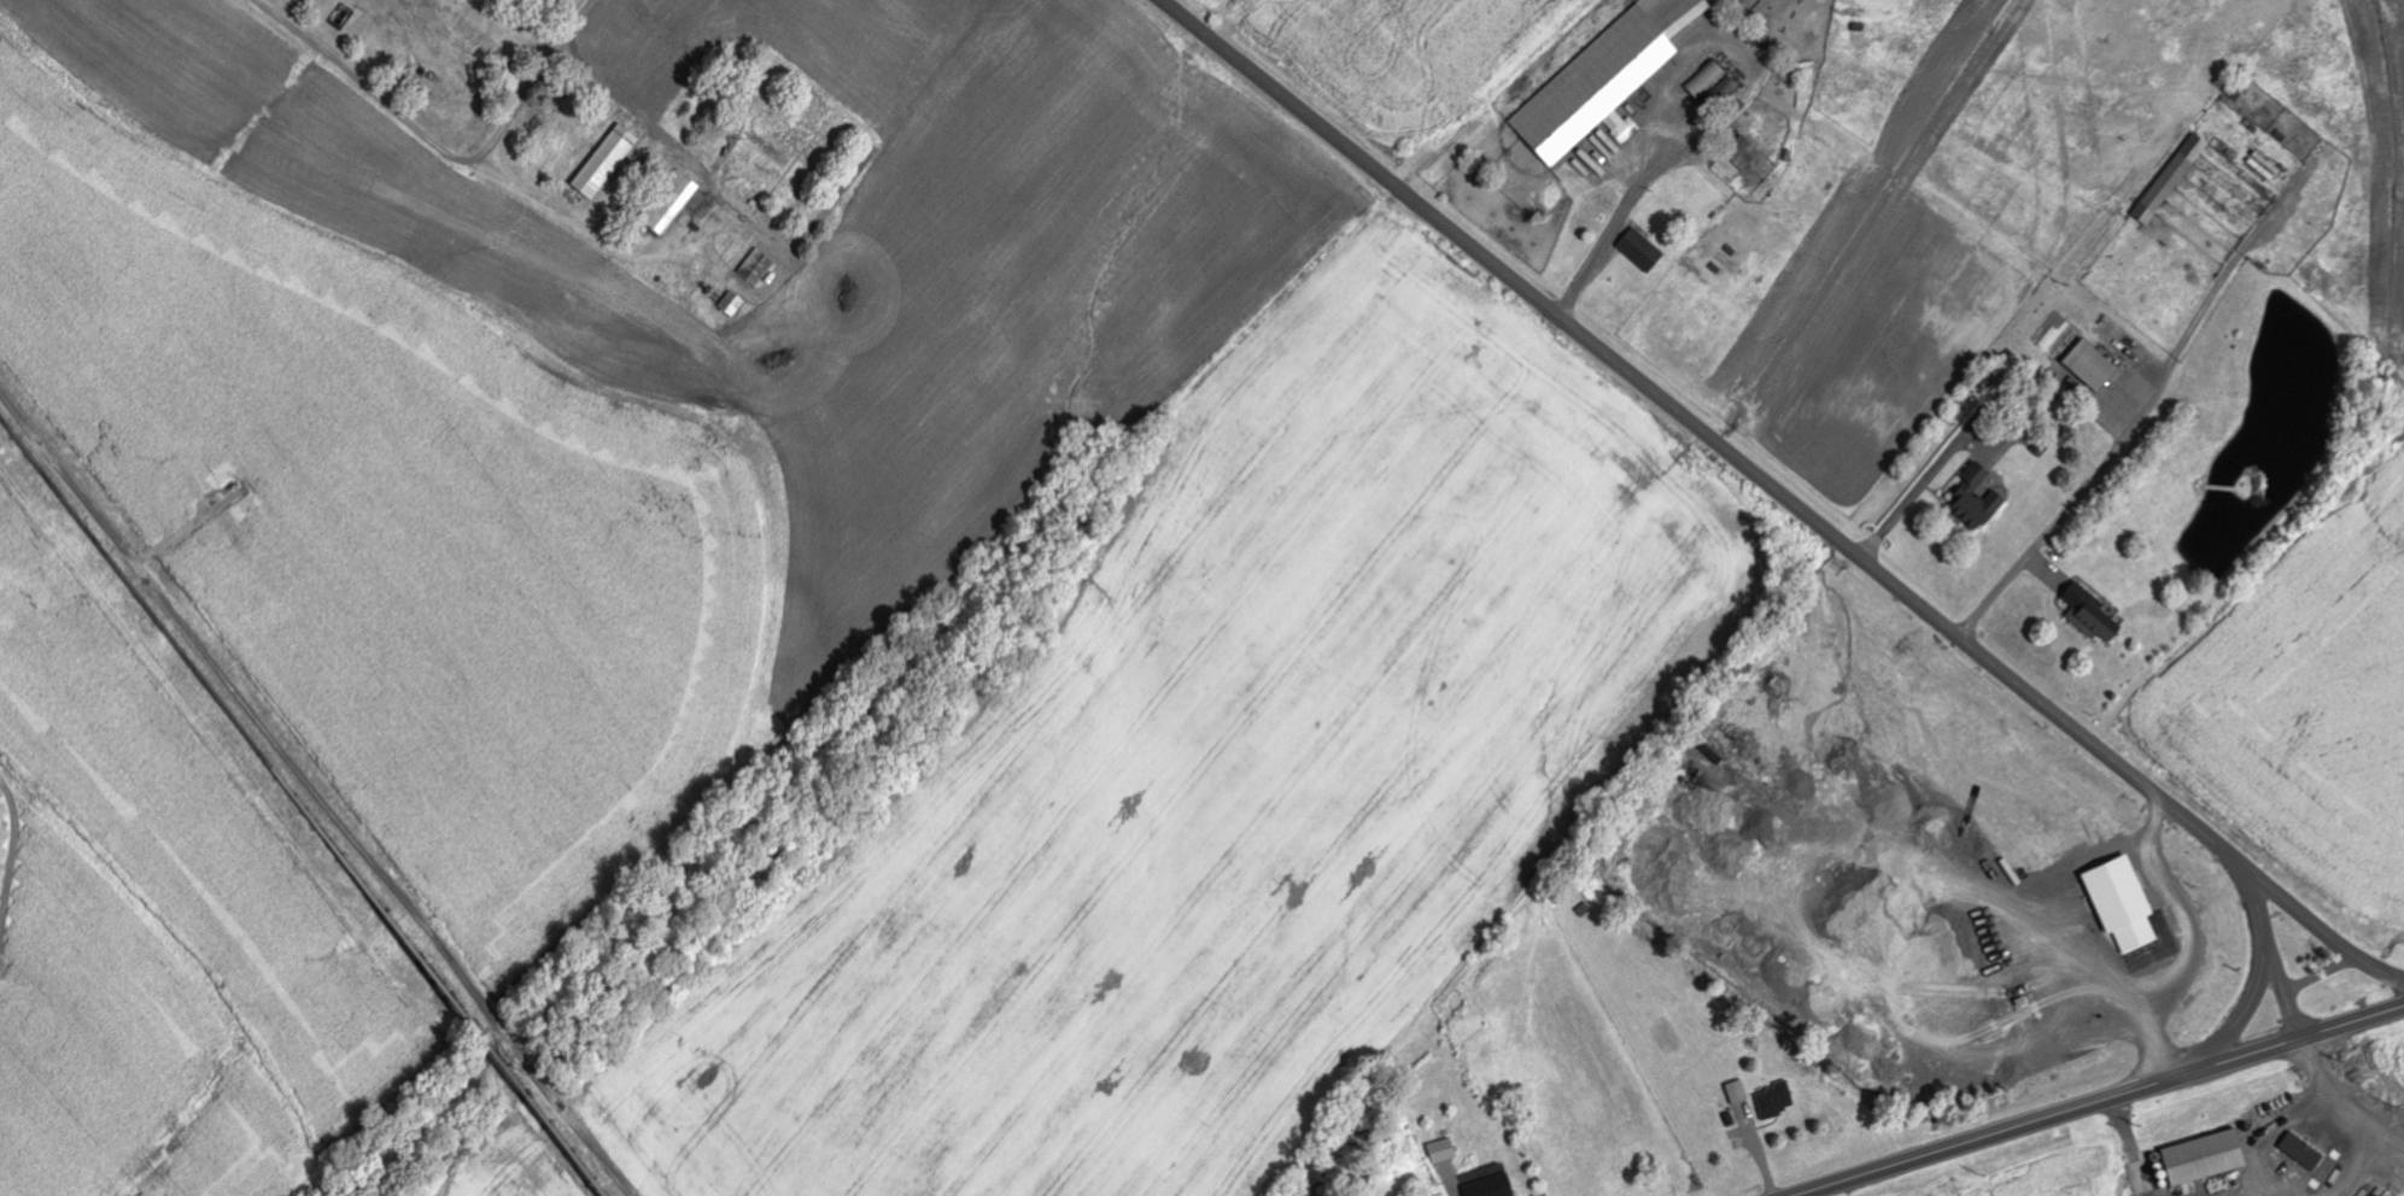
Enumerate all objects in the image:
building: (1605, 80)
building: (1714, 88)
road: (882, 146)
building: (1743, 153)
building: (607, 162)
building: (2264, 166)
building: (2171, 178)
building: (671, 203)
road: (1610, 233)
building: (1642, 251)
building: (758, 268)
building: (732, 304)
building: (2092, 364)
road: (1779, 494)
building: (1977, 499)
road: (2055, 521)
building: (2092, 616)
building: (2124, 903)
road: (2270, 951)
road: (2245, 1009)
building: (1737, 1091)
building: (1776, 1101)
road: (2099, 1101)
road: (2340, 1103)
building: (1443, 1150)
building: (2303, 1150)
building: (2206, 1157)
building: (2385, 1195)

